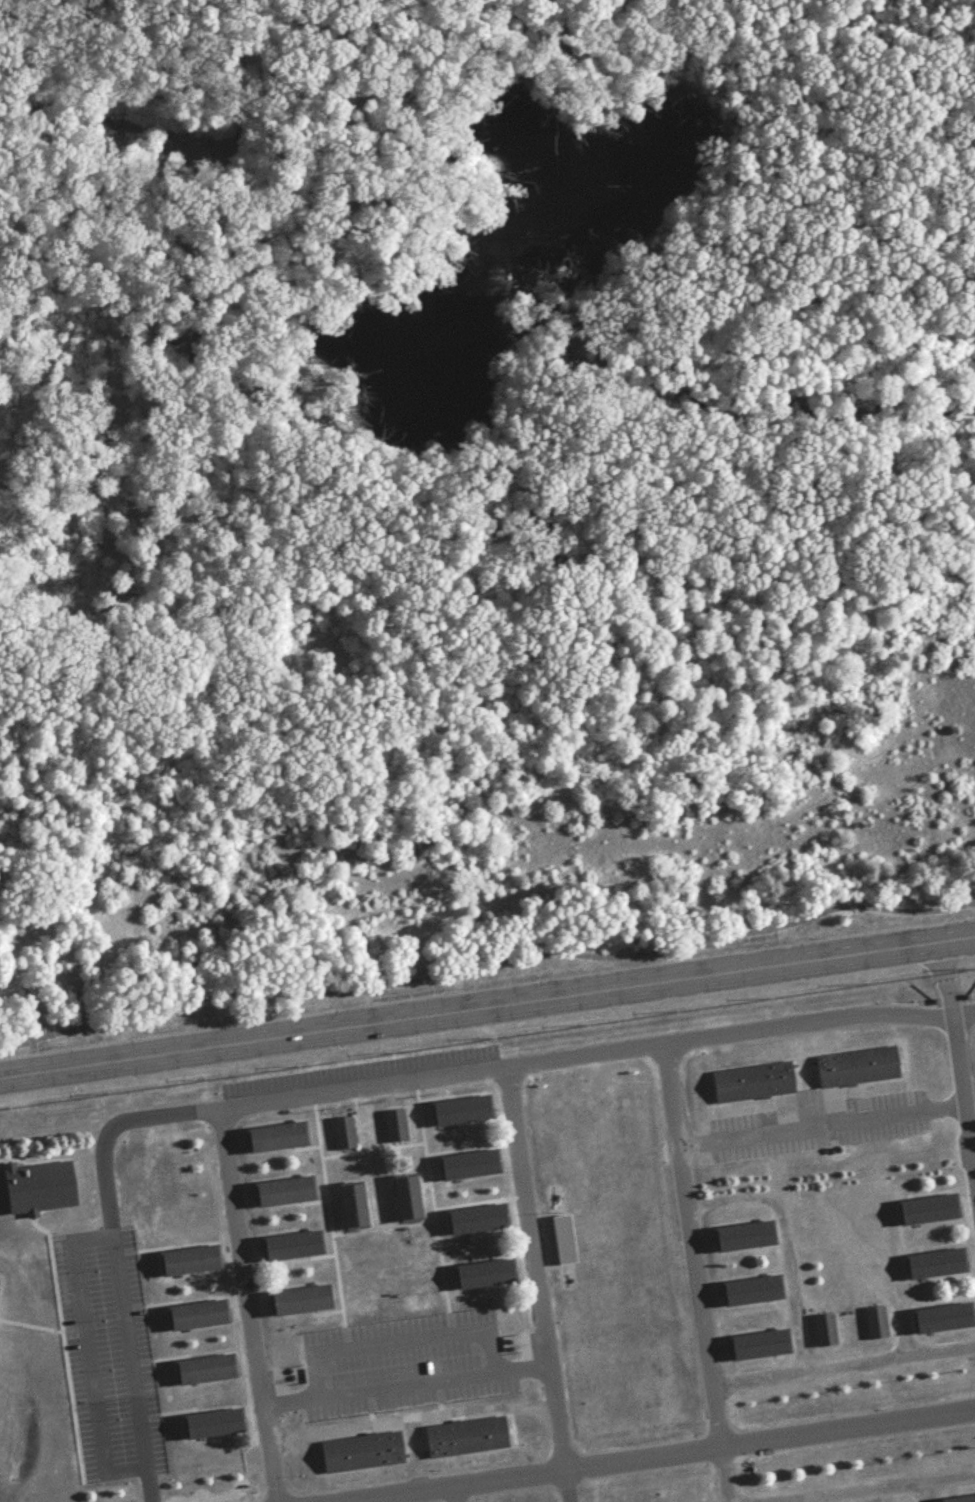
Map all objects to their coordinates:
road: (755, 928)
road: (266, 988)
road: (487, 1005)
road: (958, 1064)
building: (862, 1066)
building: (753, 1081)
road: (398, 1082)
road: (968, 1089)
building: (461, 1110)
road: (819, 1123)
building: (394, 1124)
building: (343, 1134)
building: (278, 1137)
building: (469, 1165)
building: (37, 1185)
building: (284, 1194)
building: (407, 1199)
building: (353, 1206)
building: (929, 1208)
building: (477, 1221)
building: (746, 1237)
building: (560, 1238)
road: (780, 1244)
building: (293, 1247)
building: (189, 1260)
building: (937, 1264)
road: (694, 1272)
building: (487, 1274)
road: (535, 1284)
road: (118, 1285)
building: (753, 1291)
building: (298, 1302)
building: (198, 1315)
road: (81, 1316)
building: (943, 1321)
building: (875, 1322)
building: (825, 1330)
road: (399, 1342)
building: (760, 1344)
parking lot: (402, 1362)
road: (842, 1369)
building: (205, 1370)
road: (404, 1385)
building: (213, 1423)
building: (145, 1428)
building: (92, 1437)
building: (470, 1437)
building: (363, 1453)
road: (658, 1455)
road: (850, 1489)
road: (923, 1490)
road: (453, 1494)
road: (822, 1498)
building: (962, 1499)
road: (349, 1501)

